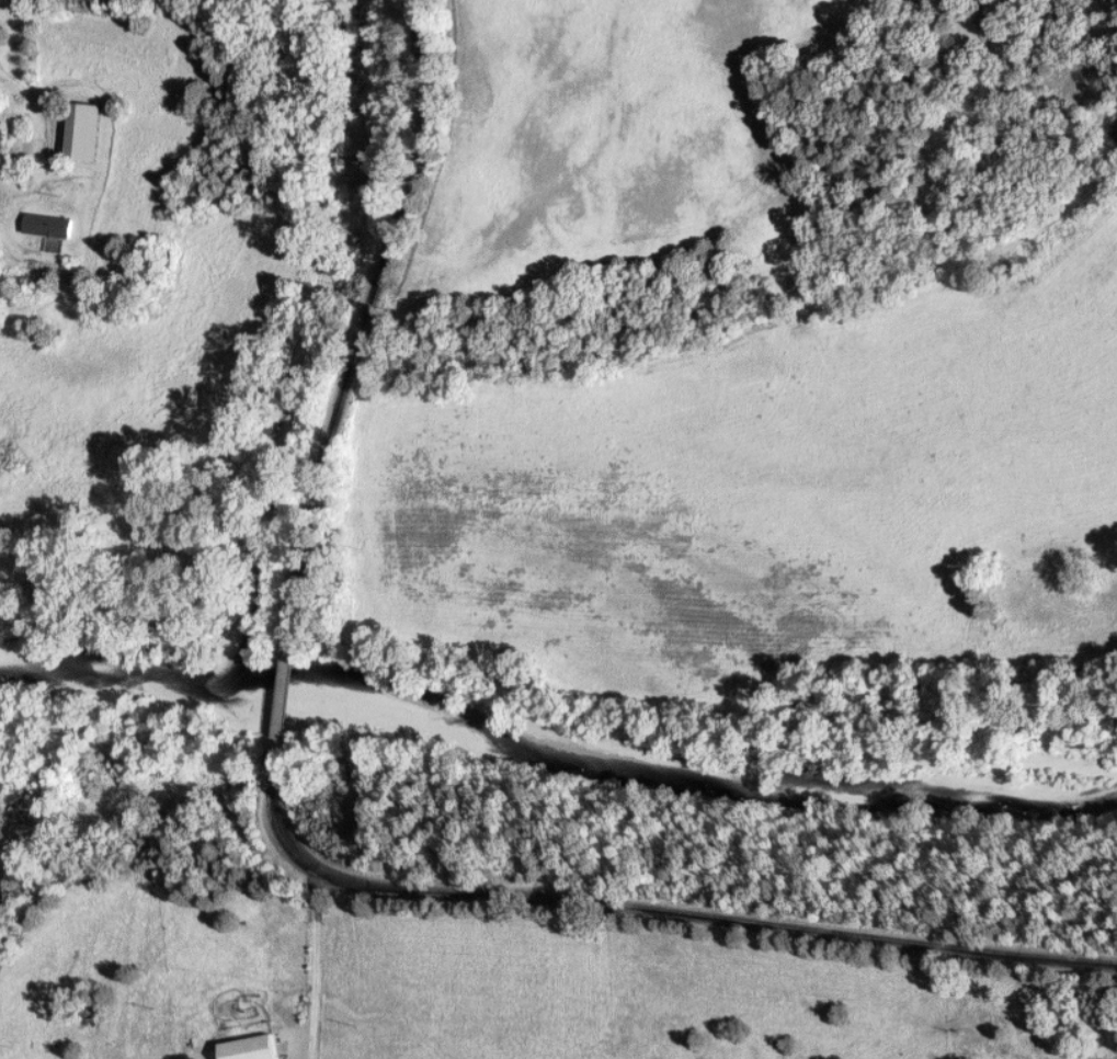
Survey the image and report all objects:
road: (48, 93)
building: (88, 129)
building: (50, 225)
road: (383, 300)
road: (287, 688)
road: (665, 912)
road: (321, 967)
road: (935, 1002)
building: (257, 1048)

